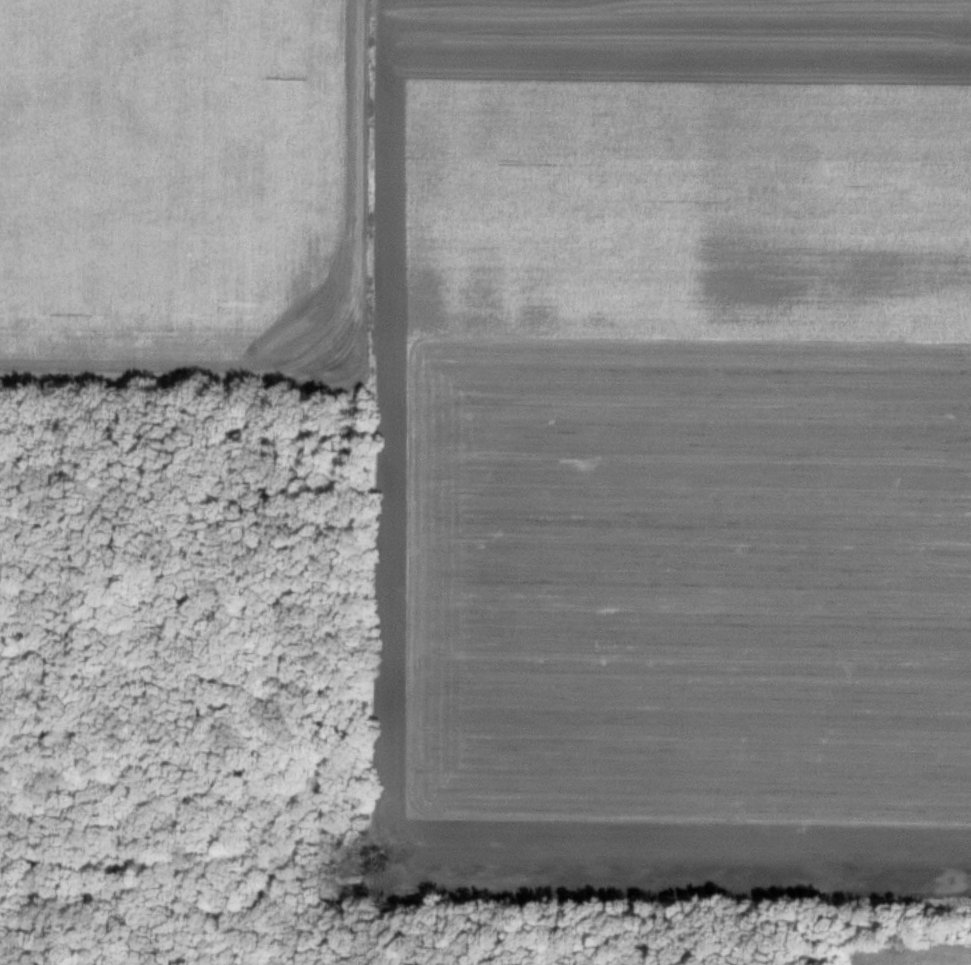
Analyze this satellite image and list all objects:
road: (351, 360)
railway: (485, 898)

